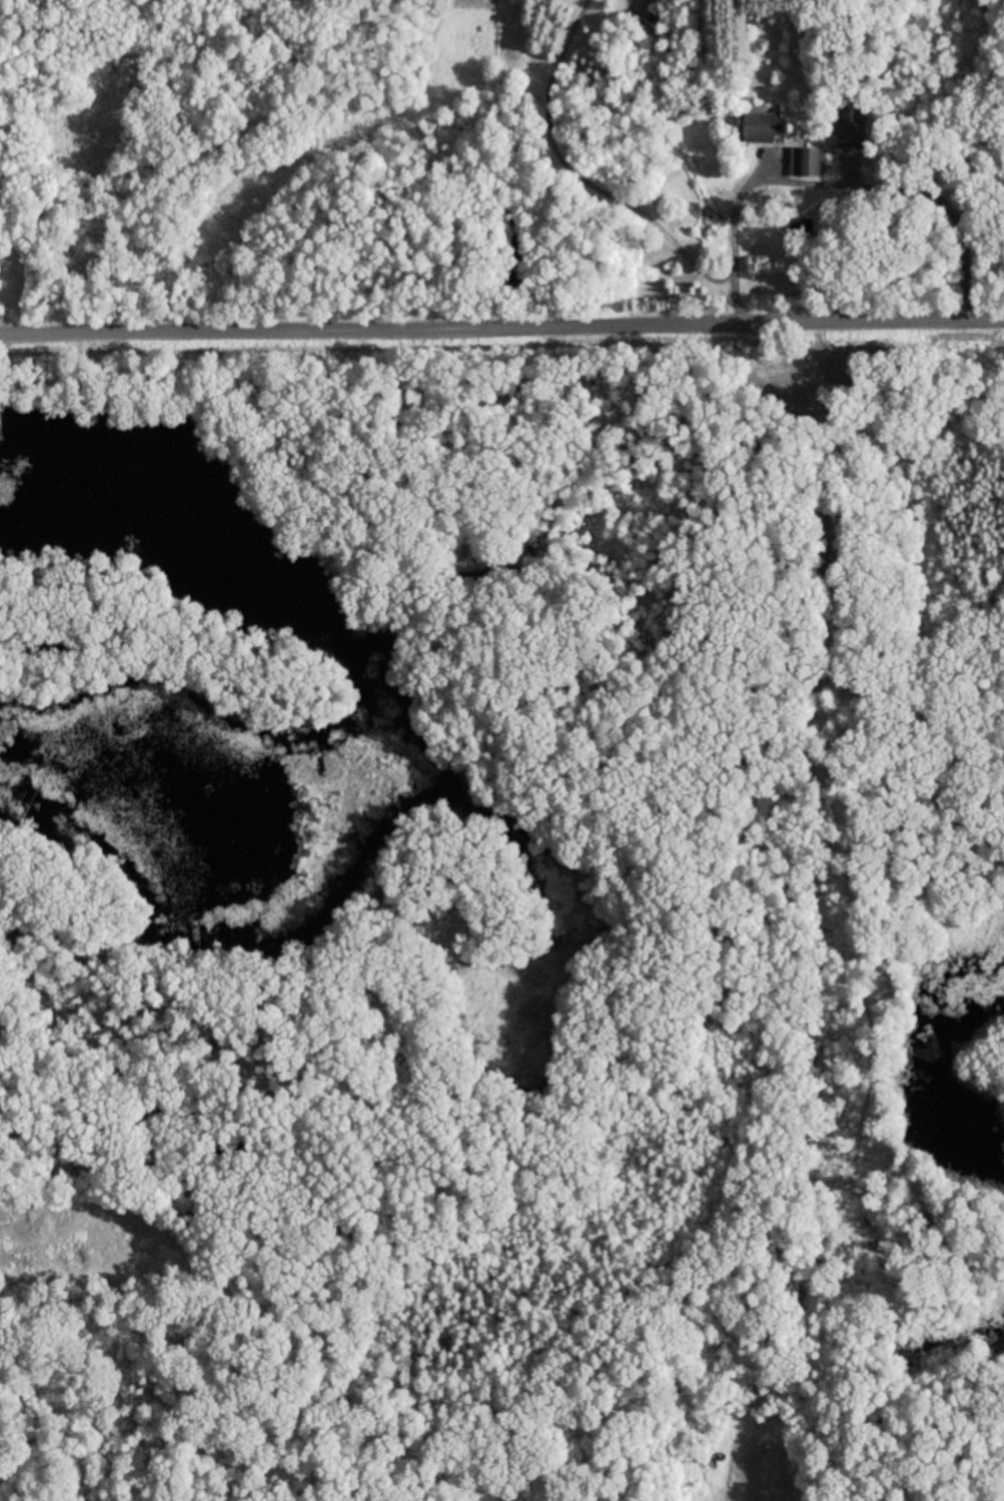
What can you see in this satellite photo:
building: (654, 17)
building: (759, 125)
building: (850, 128)
building: (806, 163)
road: (502, 334)

